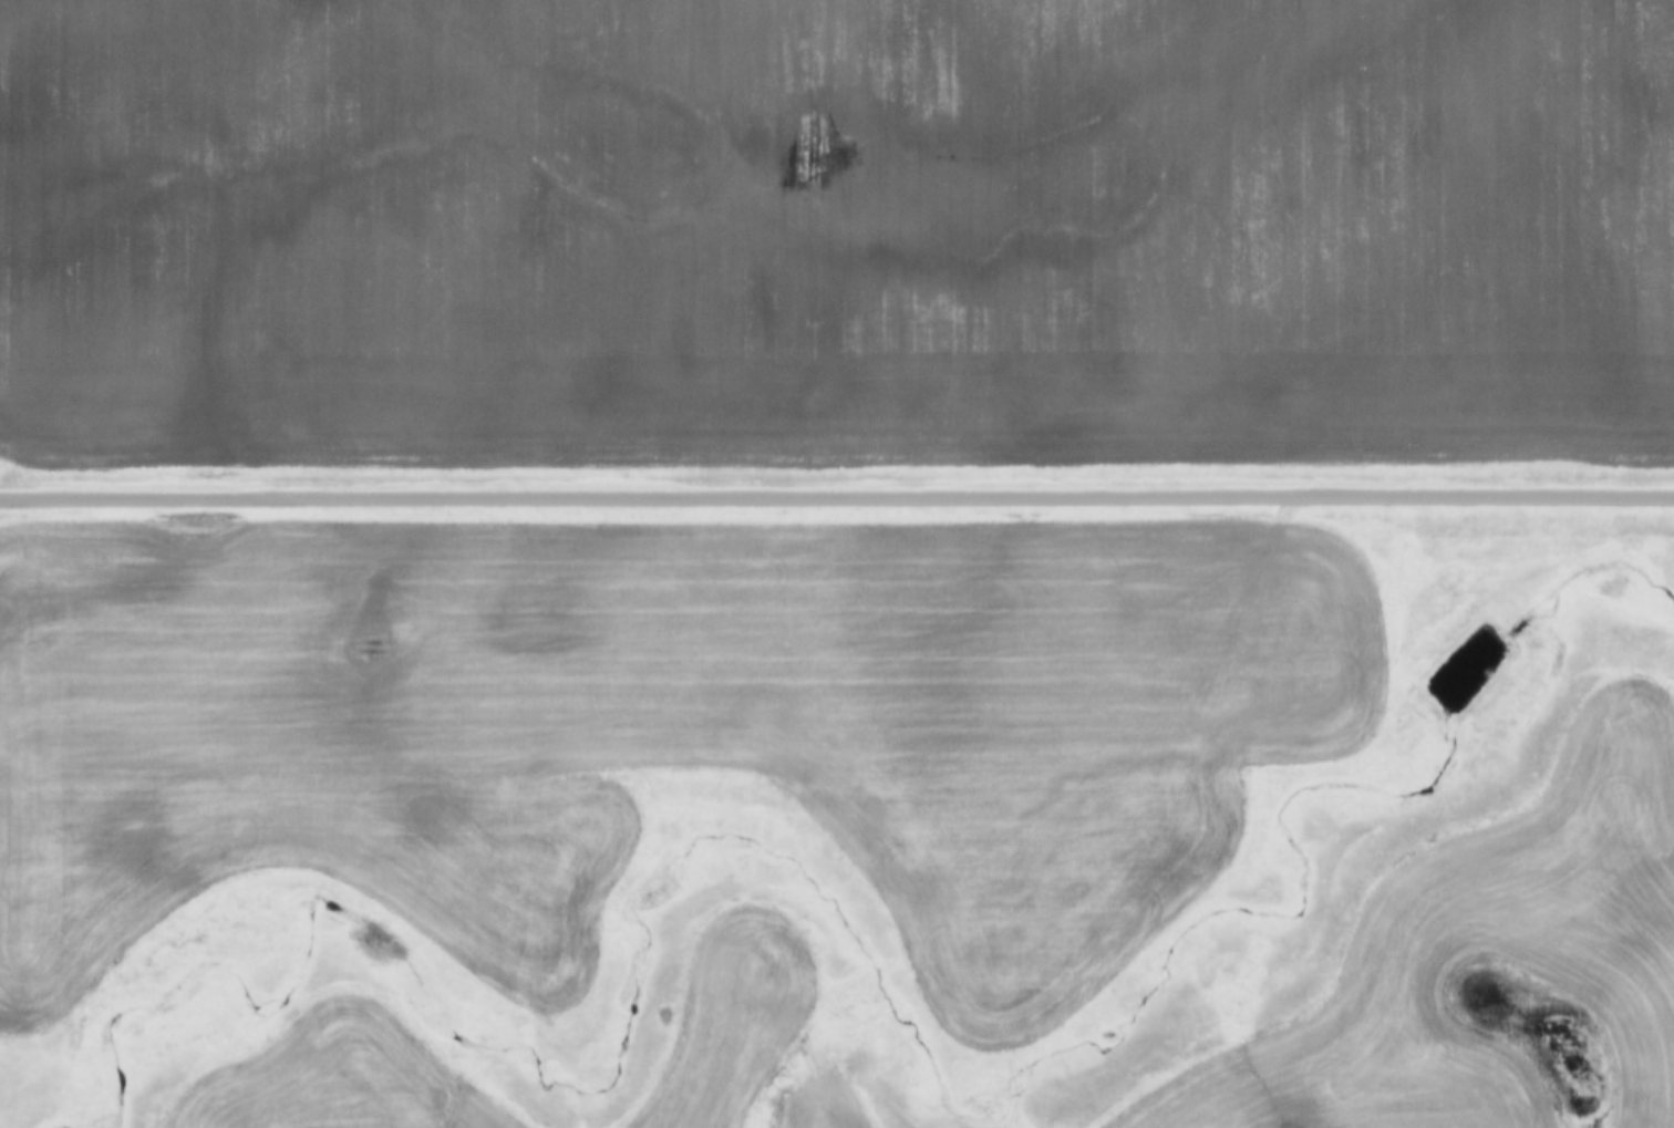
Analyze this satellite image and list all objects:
road: (837, 499)

